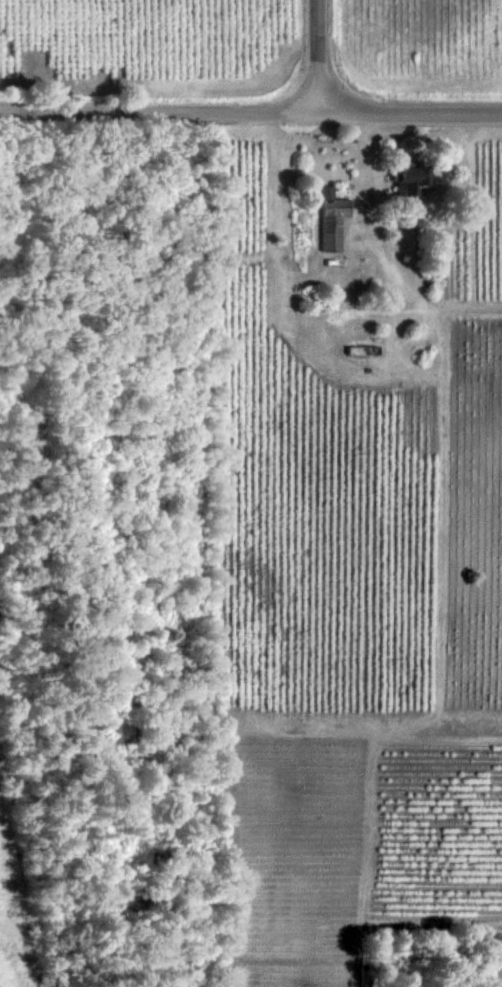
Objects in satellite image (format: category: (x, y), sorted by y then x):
road: (321, 56)
road: (160, 110)
road: (411, 112)
road: (366, 168)
building: (412, 180)
building: (332, 218)
road: (180, 379)

